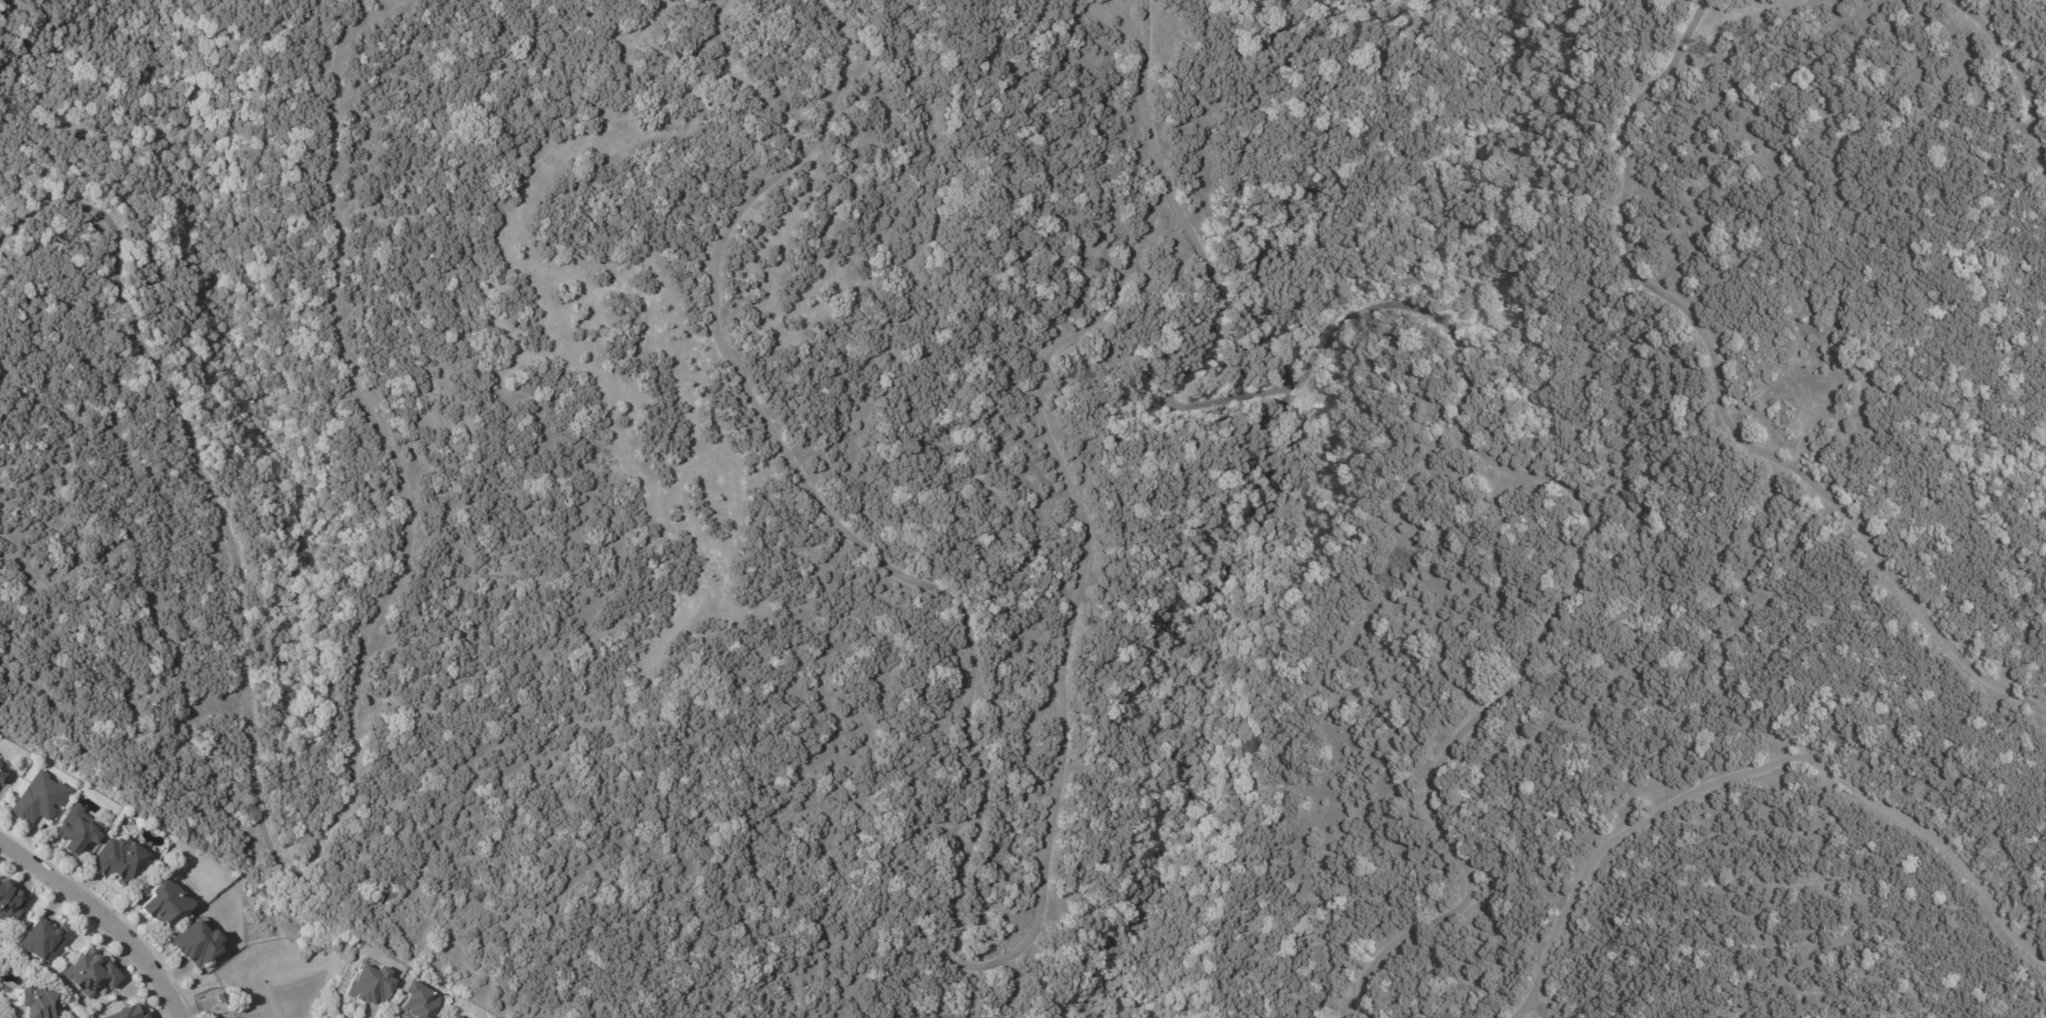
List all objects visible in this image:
building: (3, 773)
building: (40, 798)
building: (77, 830)
building: (120, 860)
building: (11, 901)
building: (166, 903)
road: (100, 918)
building: (46, 940)
building: (197, 942)
building: (91, 973)
building: (374, 983)
building: (222, 997)
building: (418, 1000)
building: (39, 1002)
building: (128, 1013)
building: (456, 1016)

